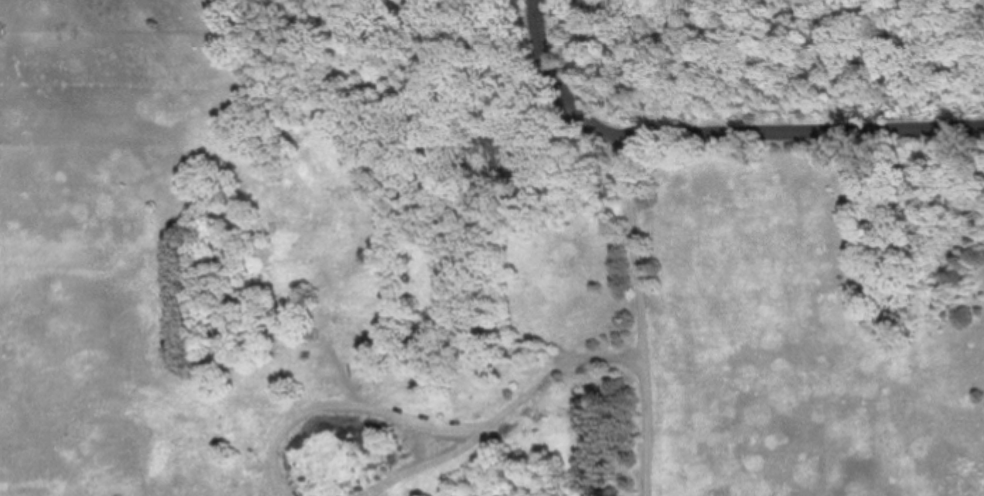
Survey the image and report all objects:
road: (566, 74)
road: (801, 130)
park: (459, 266)
road: (644, 313)

